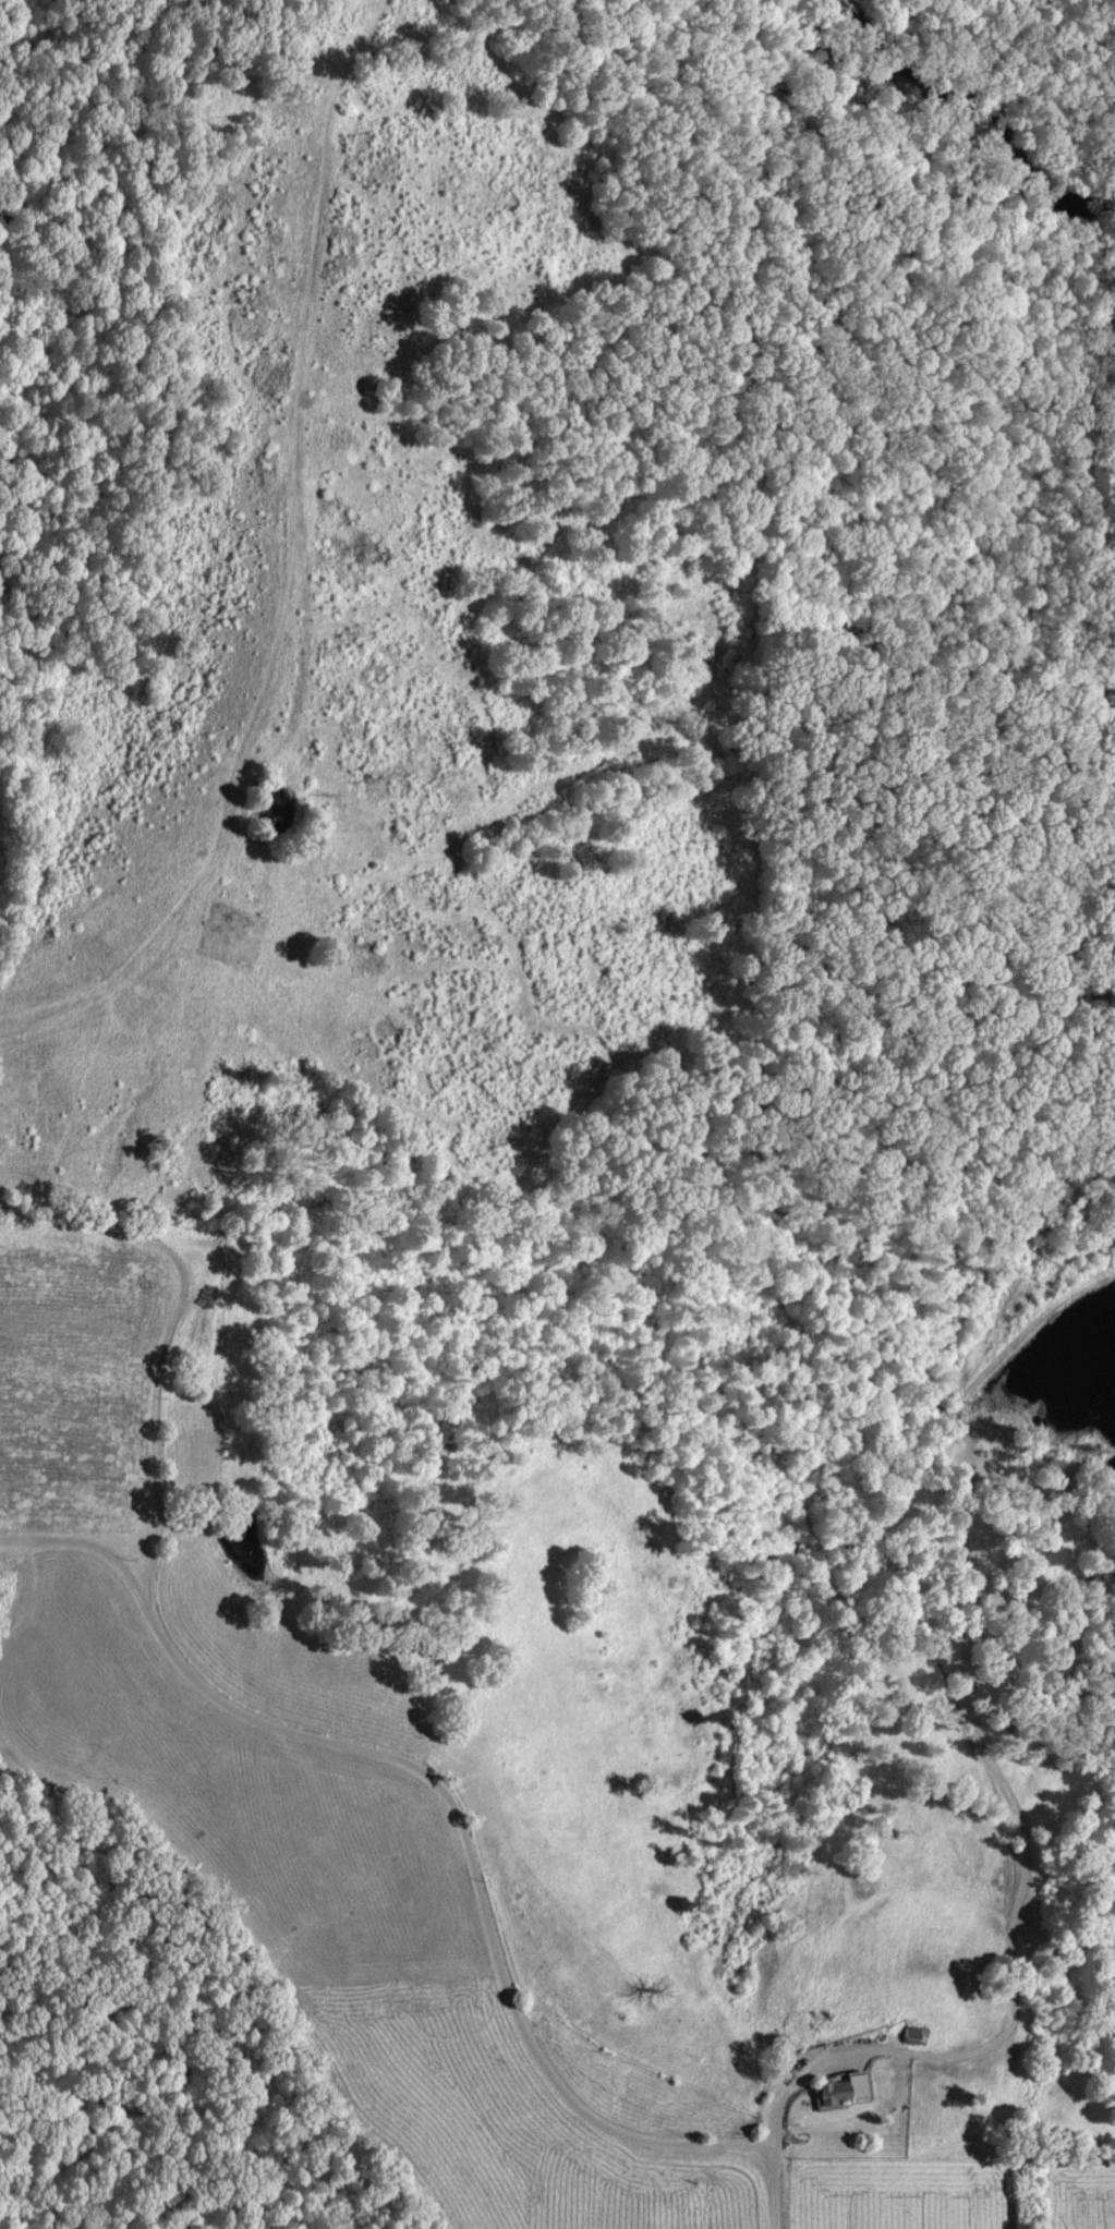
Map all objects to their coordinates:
road: (485, 1906)
building: (836, 2089)

